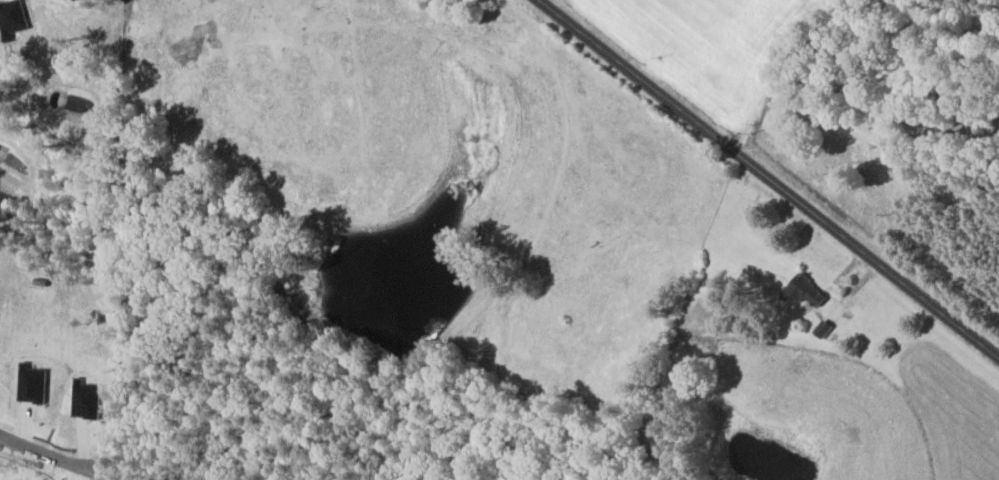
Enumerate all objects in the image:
road: (769, 176)
building: (806, 291)
building: (826, 329)
road: (47, 453)

